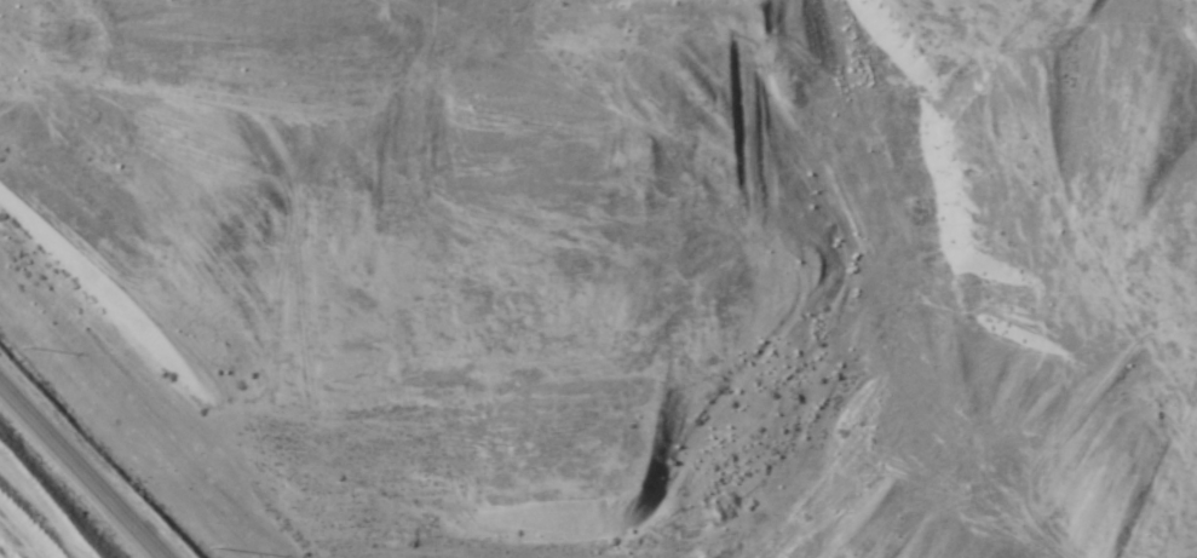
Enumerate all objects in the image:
road: (87, 464)

